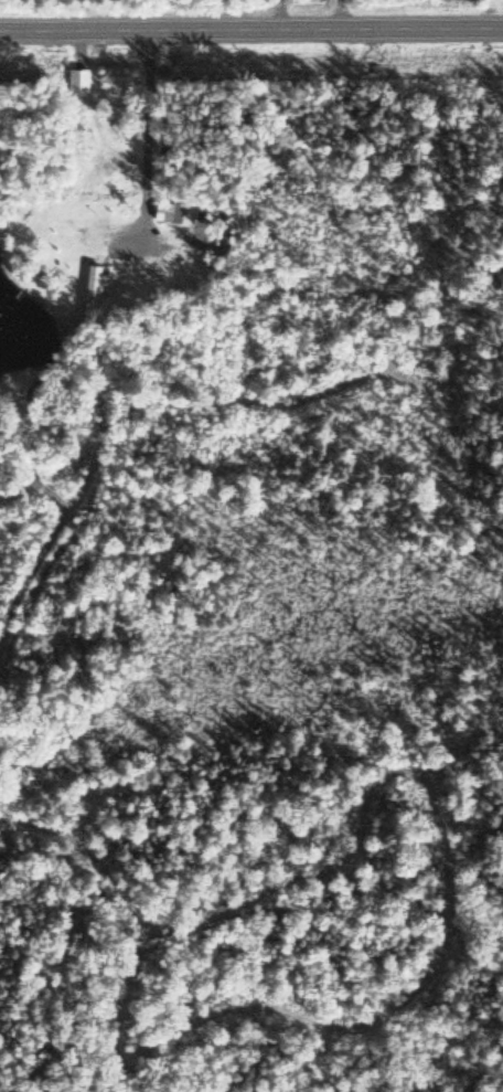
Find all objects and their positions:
road: (251, 28)
building: (81, 77)
building: (171, 211)
building: (95, 290)

